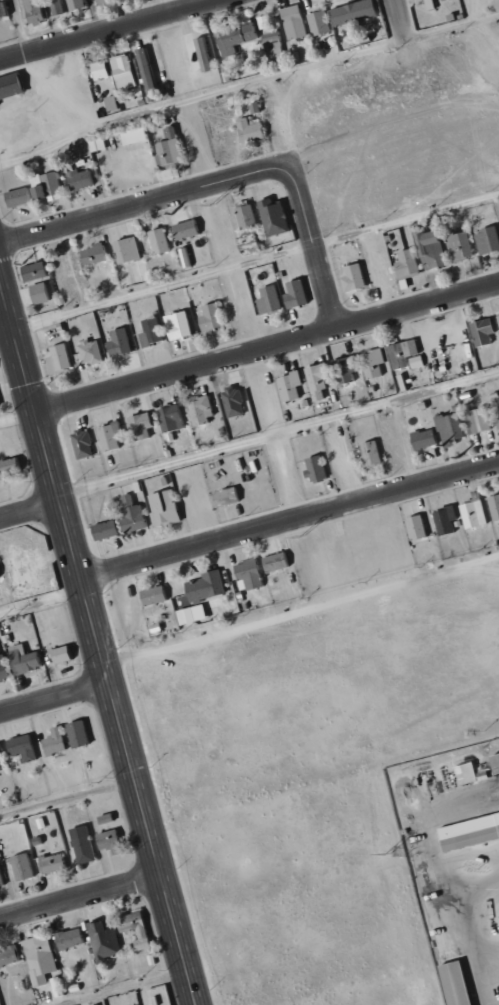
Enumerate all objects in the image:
building: (124, 0)
building: (105, 1)
building: (431, 3)
building: (82, 5)
building: (59, 7)
building: (4, 10)
building: (35, 11)
building: (349, 11)
building: (291, 22)
building: (316, 22)
road: (404, 22)
building: (265, 23)
road: (109, 29)
building: (232, 38)
building: (271, 45)
building: (201, 54)
building: (96, 70)
building: (151, 70)
building: (120, 71)
building: (9, 86)
building: (108, 102)
building: (247, 129)
building: (130, 135)
building: (166, 147)
building: (76, 179)
building: (47, 185)
building: (16, 197)
power tower: (212, 204)
road: (138, 208)
building: (271, 216)
building: (243, 217)
building: (183, 229)
building: (157, 240)
building: (485, 240)
road: (315, 243)
building: (457, 245)
building: (124, 249)
building: (428, 249)
building: (91, 255)
building: (403, 264)
building: (32, 271)
building: (351, 277)
road: (164, 286)
building: (293, 294)
building: (266, 299)
building: (209, 316)
building: (497, 321)
road: (6, 325)
building: (174, 325)
building: (102, 328)
building: (152, 329)
building: (479, 332)
building: (116, 342)
road: (267, 348)
building: (88, 352)
building: (402, 355)
building: (56, 358)
building: (370, 364)
building: (345, 369)
building: (314, 380)
building: (287, 385)
building: (231, 402)
building: (198, 410)
road: (18, 416)
building: (496, 416)
building: (168, 417)
building: (475, 420)
building: (137, 426)
building: (446, 428)
road: (278, 434)
building: (107, 436)
building: (420, 439)
building: (84, 443)
building: (368, 453)
building: (10, 467)
building: (319, 467)
building: (223, 496)
building: (195, 503)
building: (493, 506)
building: (161, 507)
road: (30, 511)
building: (470, 514)
building: (131, 517)
building: (440, 521)
road: (290, 522)
building: (425, 524)
building: (412, 527)
building: (102, 530)
building: (385, 535)
power tower: (302, 536)
building: (272, 562)
building: (0, 575)
building: (245, 575)
building: (203, 586)
building: (173, 590)
building: (150, 595)
road: (42, 603)
road: (302, 612)
building: (188, 614)
road: (98, 641)
building: (64, 655)
building: (27, 659)
building: (4, 666)
road: (54, 699)
building: (80, 733)
building: (57, 741)
building: (23, 747)
building: (2, 757)
building: (493, 763)
building: (467, 774)
road: (68, 796)
building: (108, 818)
building: (467, 831)
building: (111, 840)
building: (83, 844)
power tower: (388, 854)
building: (53, 862)
building: (24, 866)
building: (2, 877)
road: (80, 895)
building: (137, 928)
building: (71, 938)
building: (105, 939)
building: (9, 955)
building: (41, 958)
building: (451, 983)
building: (58, 987)
road: (124, 988)

